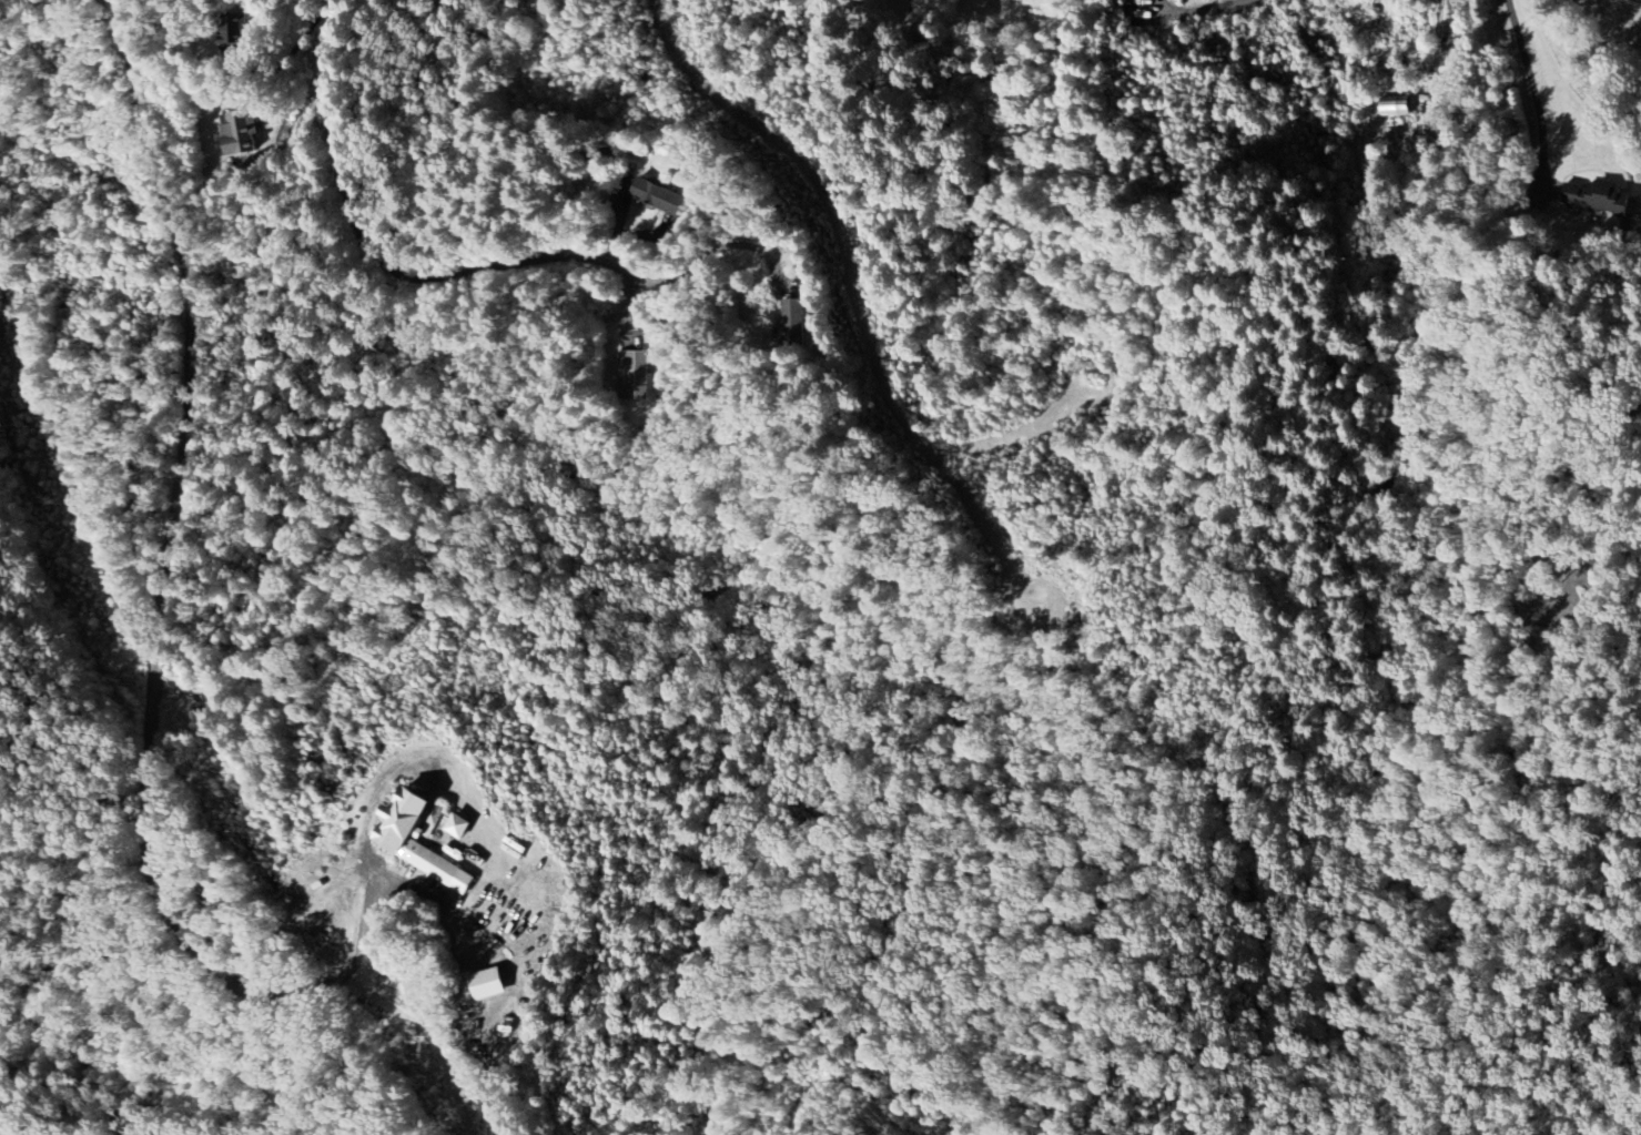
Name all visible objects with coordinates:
road: (1194, 9)
building: (236, 28)
road: (1536, 92)
building: (1394, 107)
building: (240, 134)
building: (658, 197)
building: (1597, 197)
road: (1640, 214)
road: (556, 253)
building: (792, 323)
building: (634, 375)
road: (152, 697)
building: (456, 827)
building: (414, 841)
building: (485, 984)

